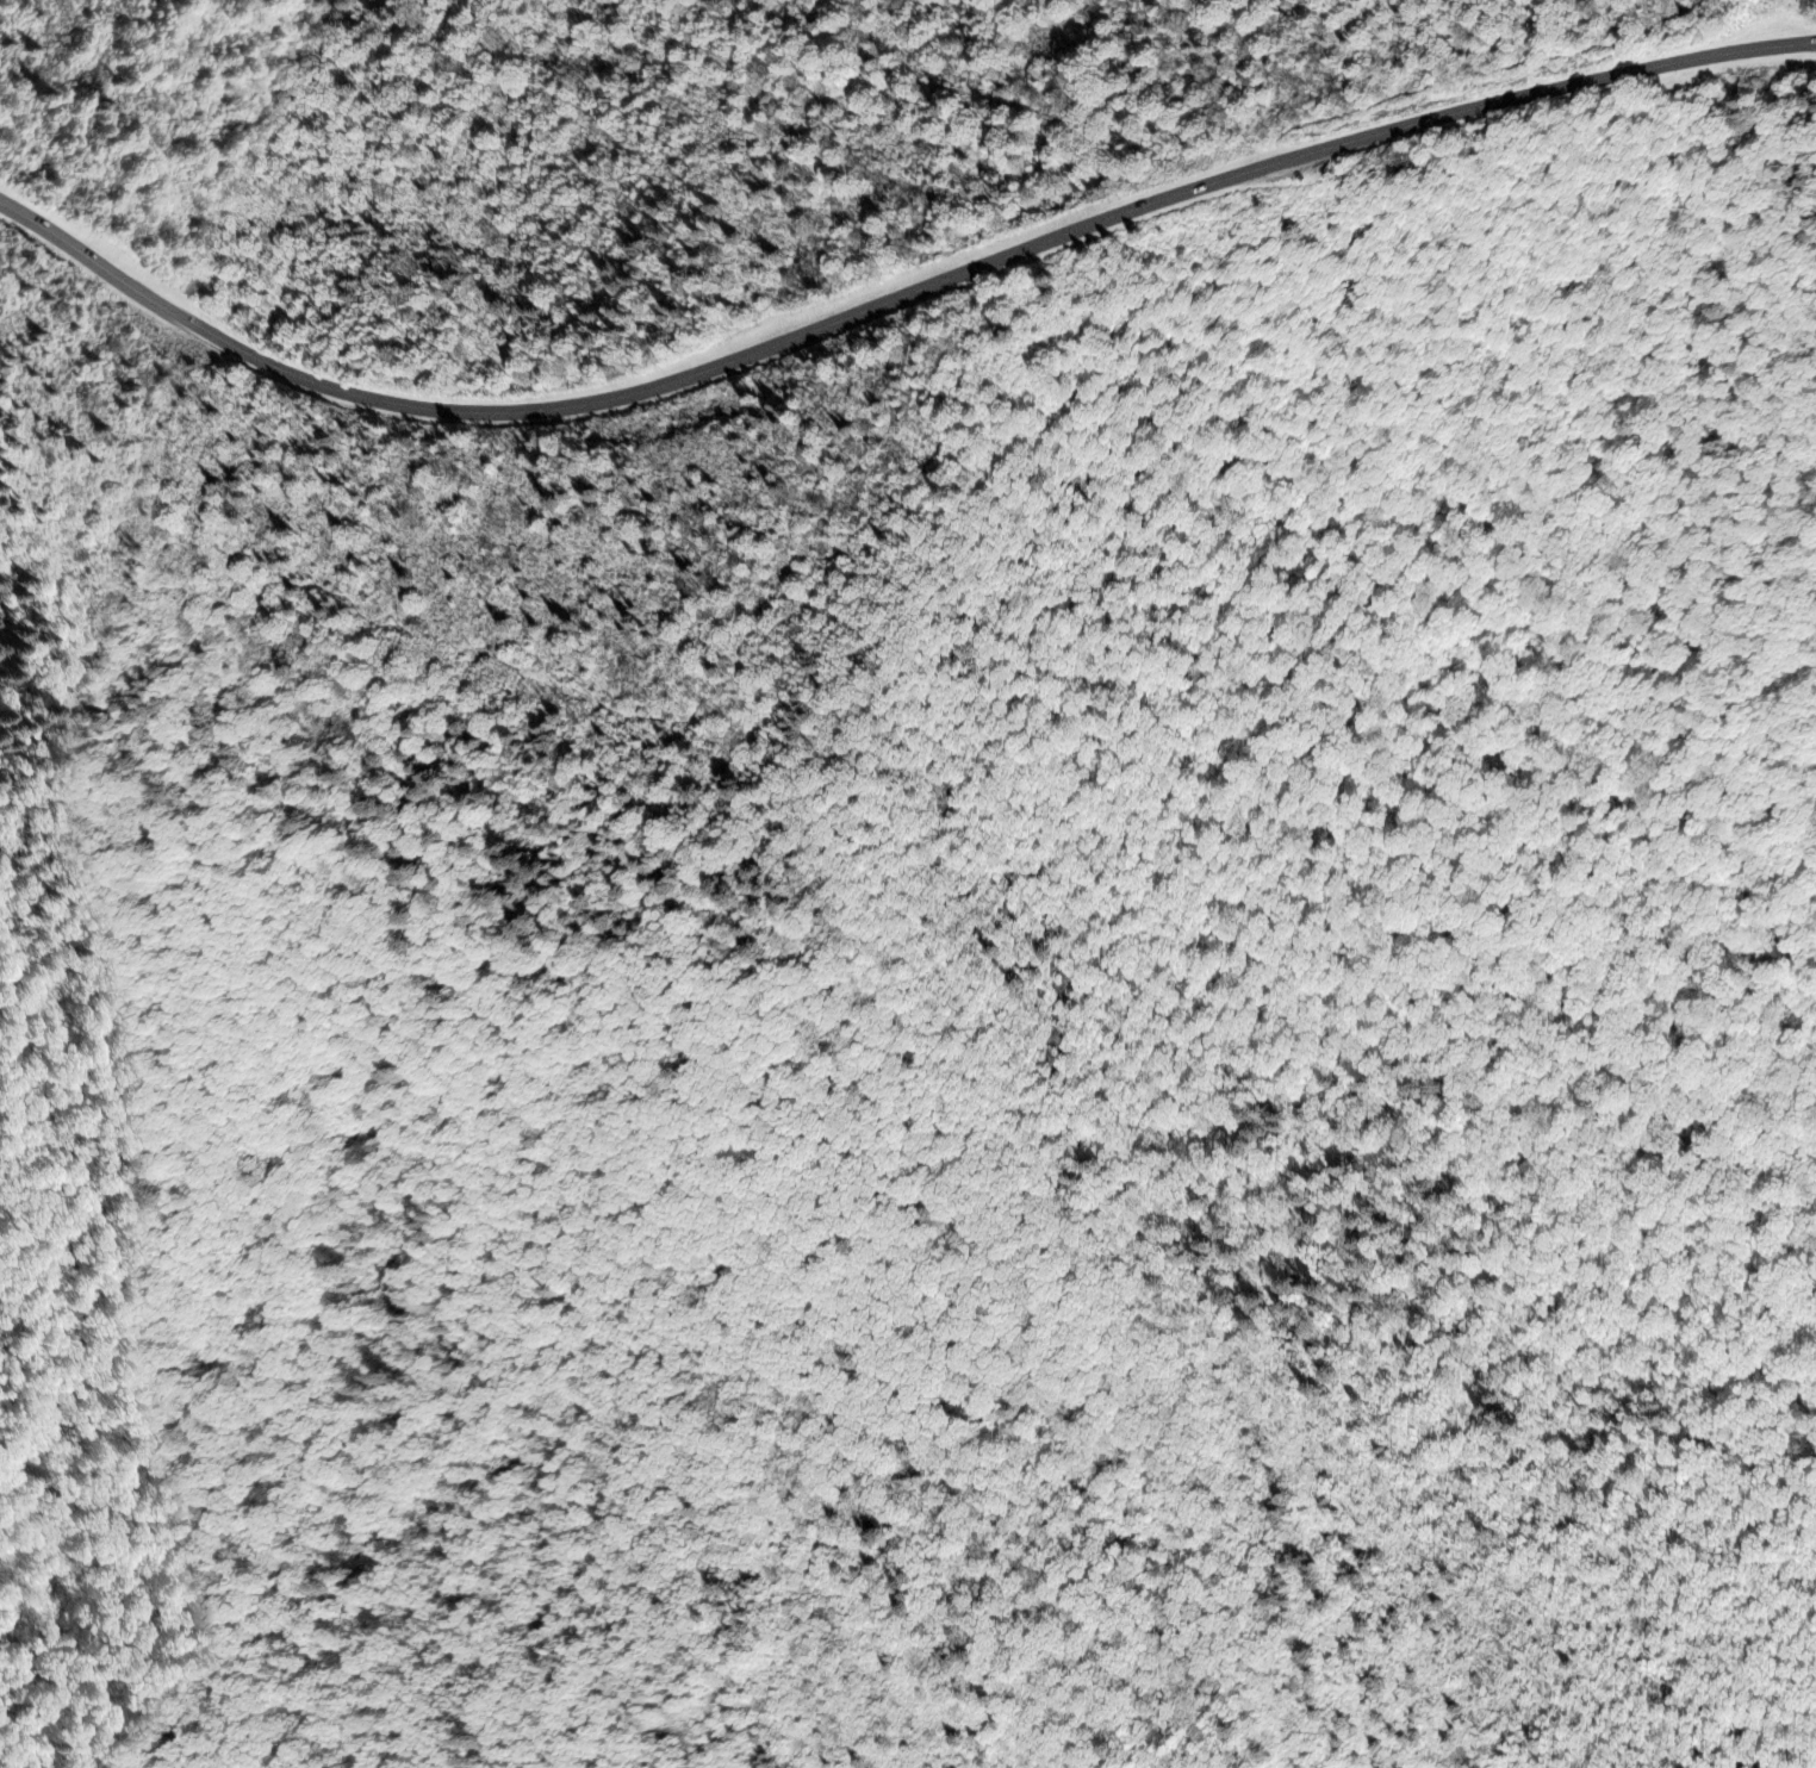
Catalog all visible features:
road: (1785, 43)
road: (1488, 101)
road: (604, 397)

